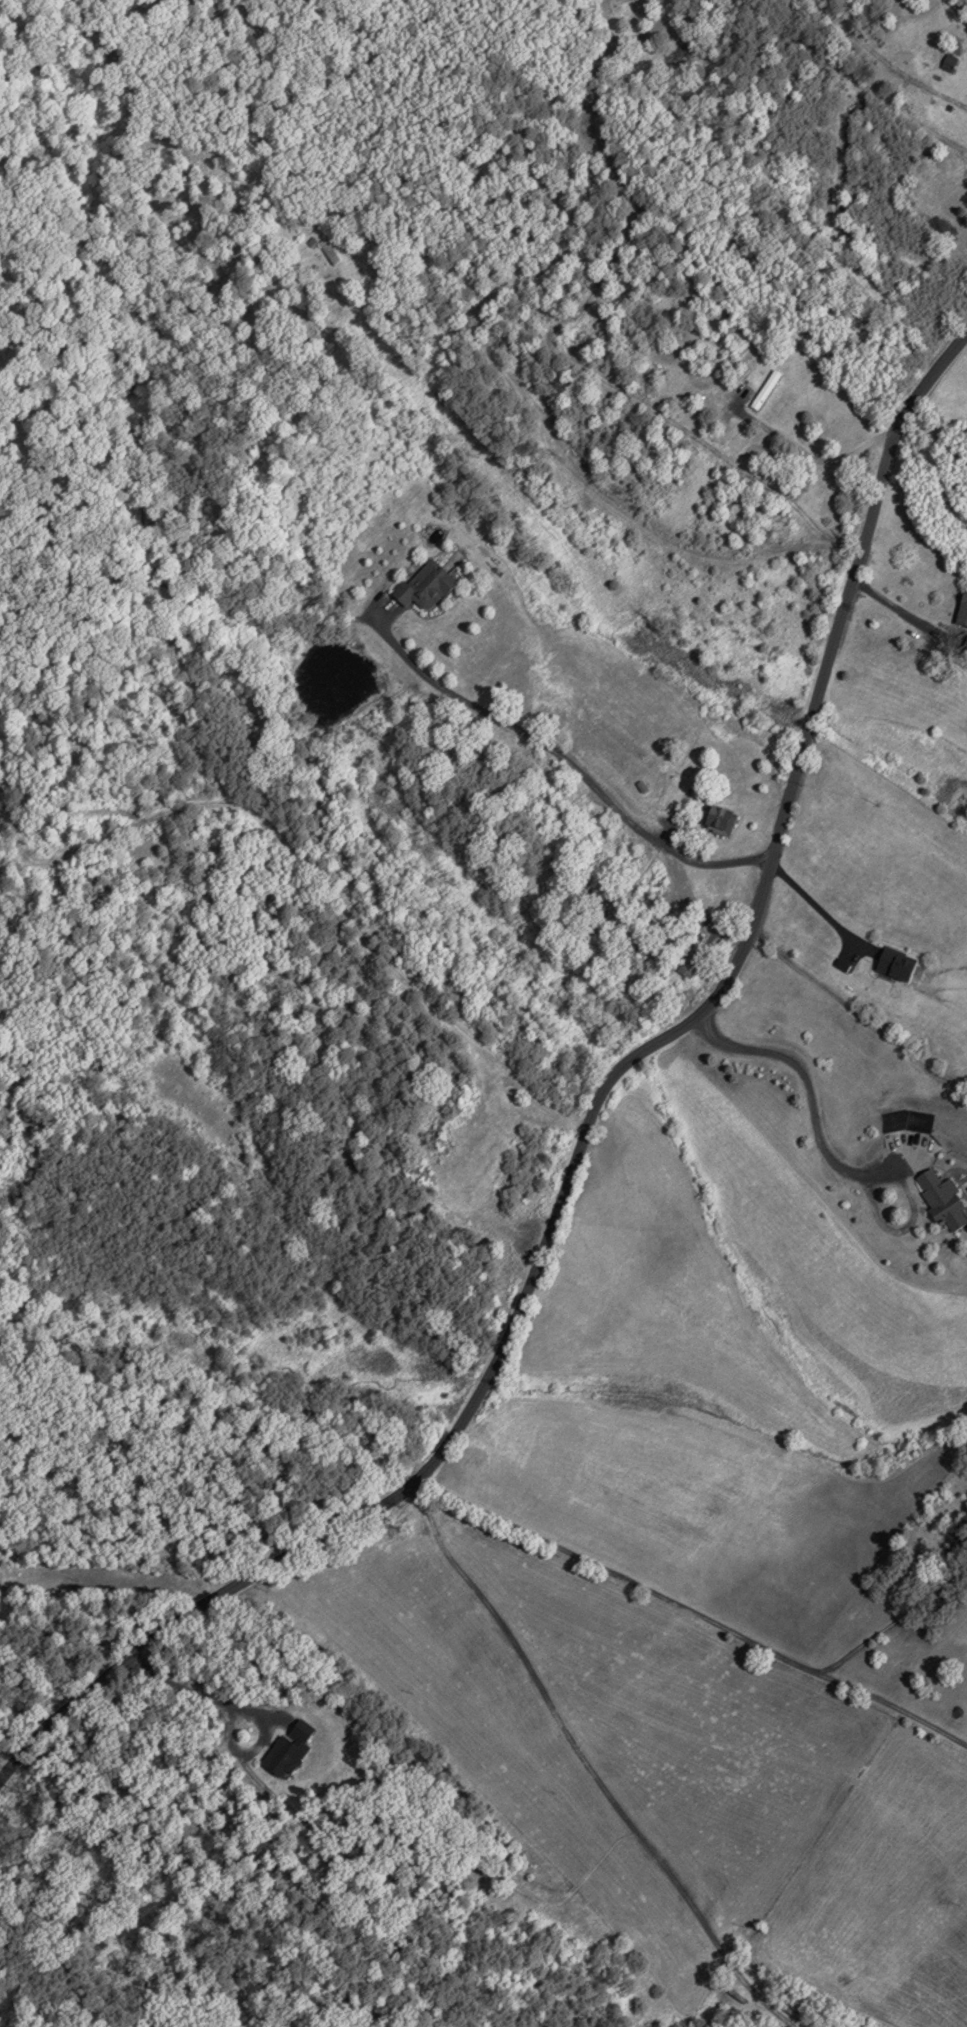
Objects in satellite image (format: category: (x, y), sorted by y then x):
road: (954, 352)
road: (744, 942)
road: (186, 1606)

